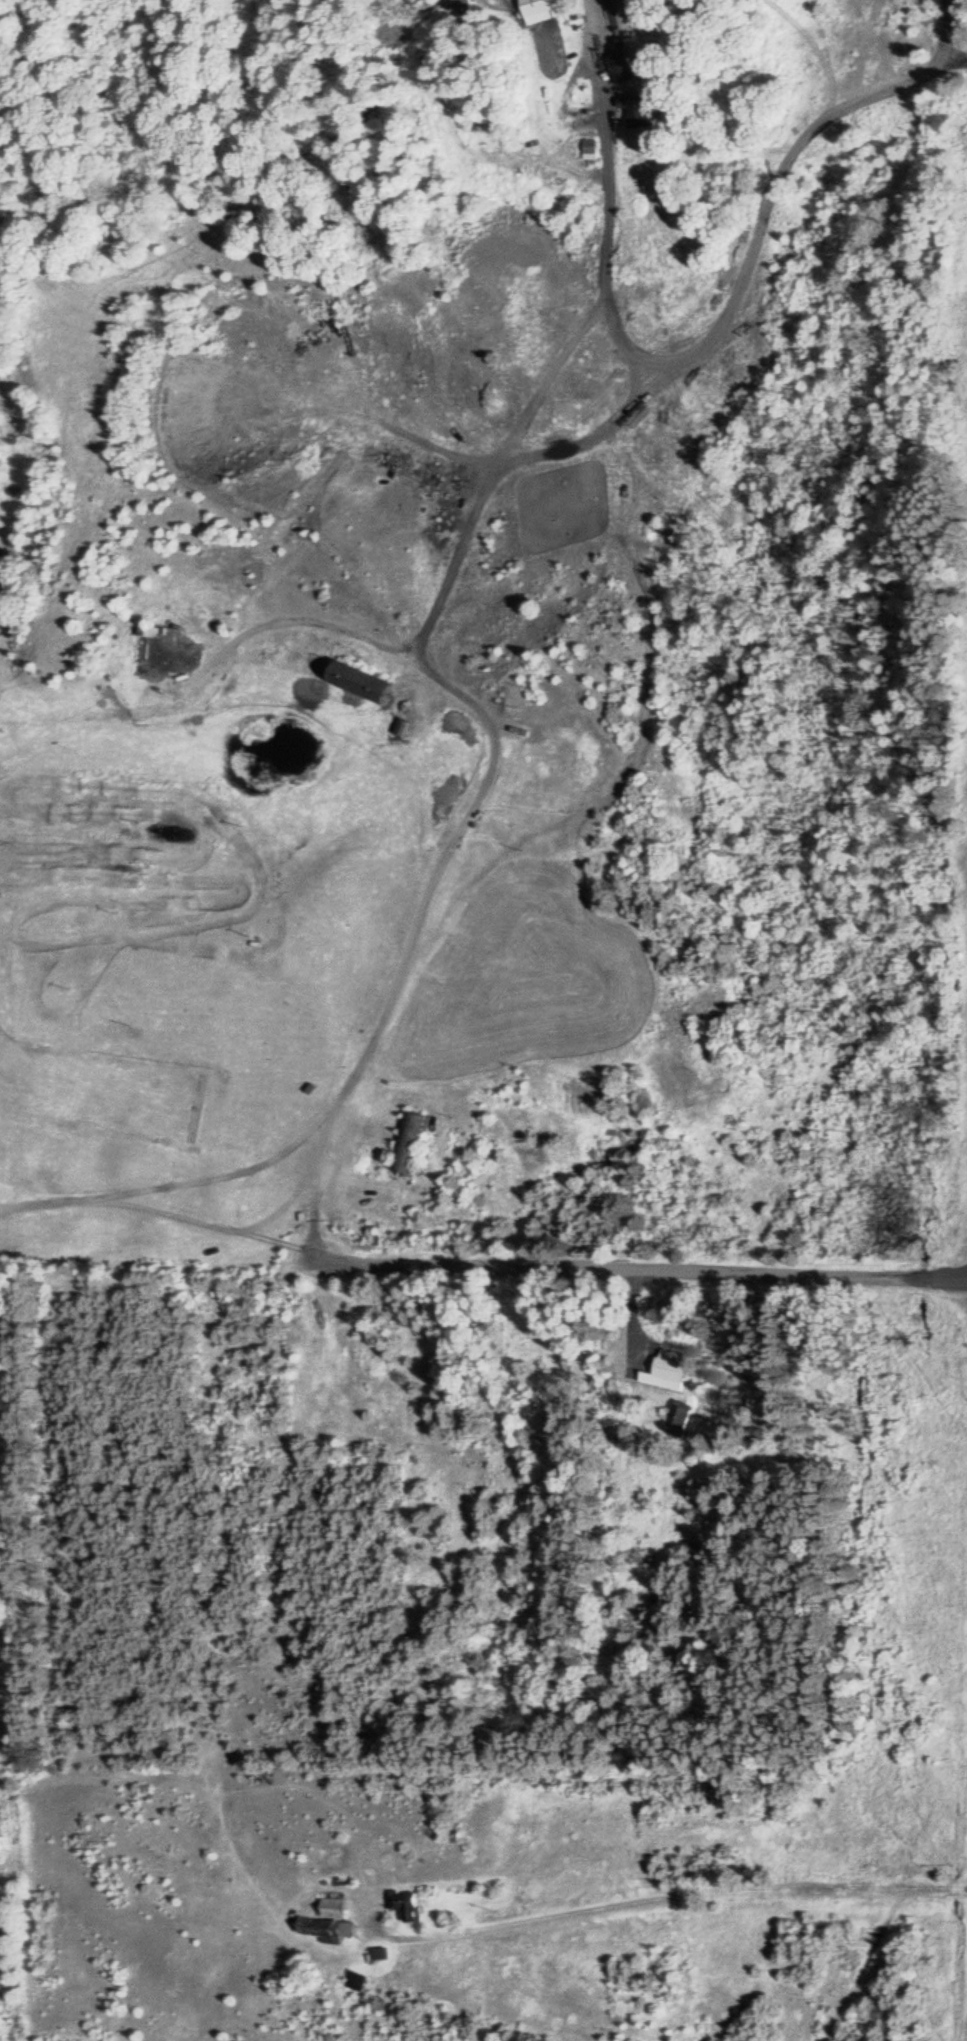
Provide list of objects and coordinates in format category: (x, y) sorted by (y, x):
building: (541, 7)
building: (617, 69)
building: (639, 113)
building: (586, 152)
building: (136, 651)
building: (355, 683)
building: (451, 723)
building: (408, 1144)
road: (640, 1272)
building: (664, 1372)
building: (676, 1418)
road: (670, 1899)
building: (399, 1906)
building: (323, 1921)
building: (349, 1982)

